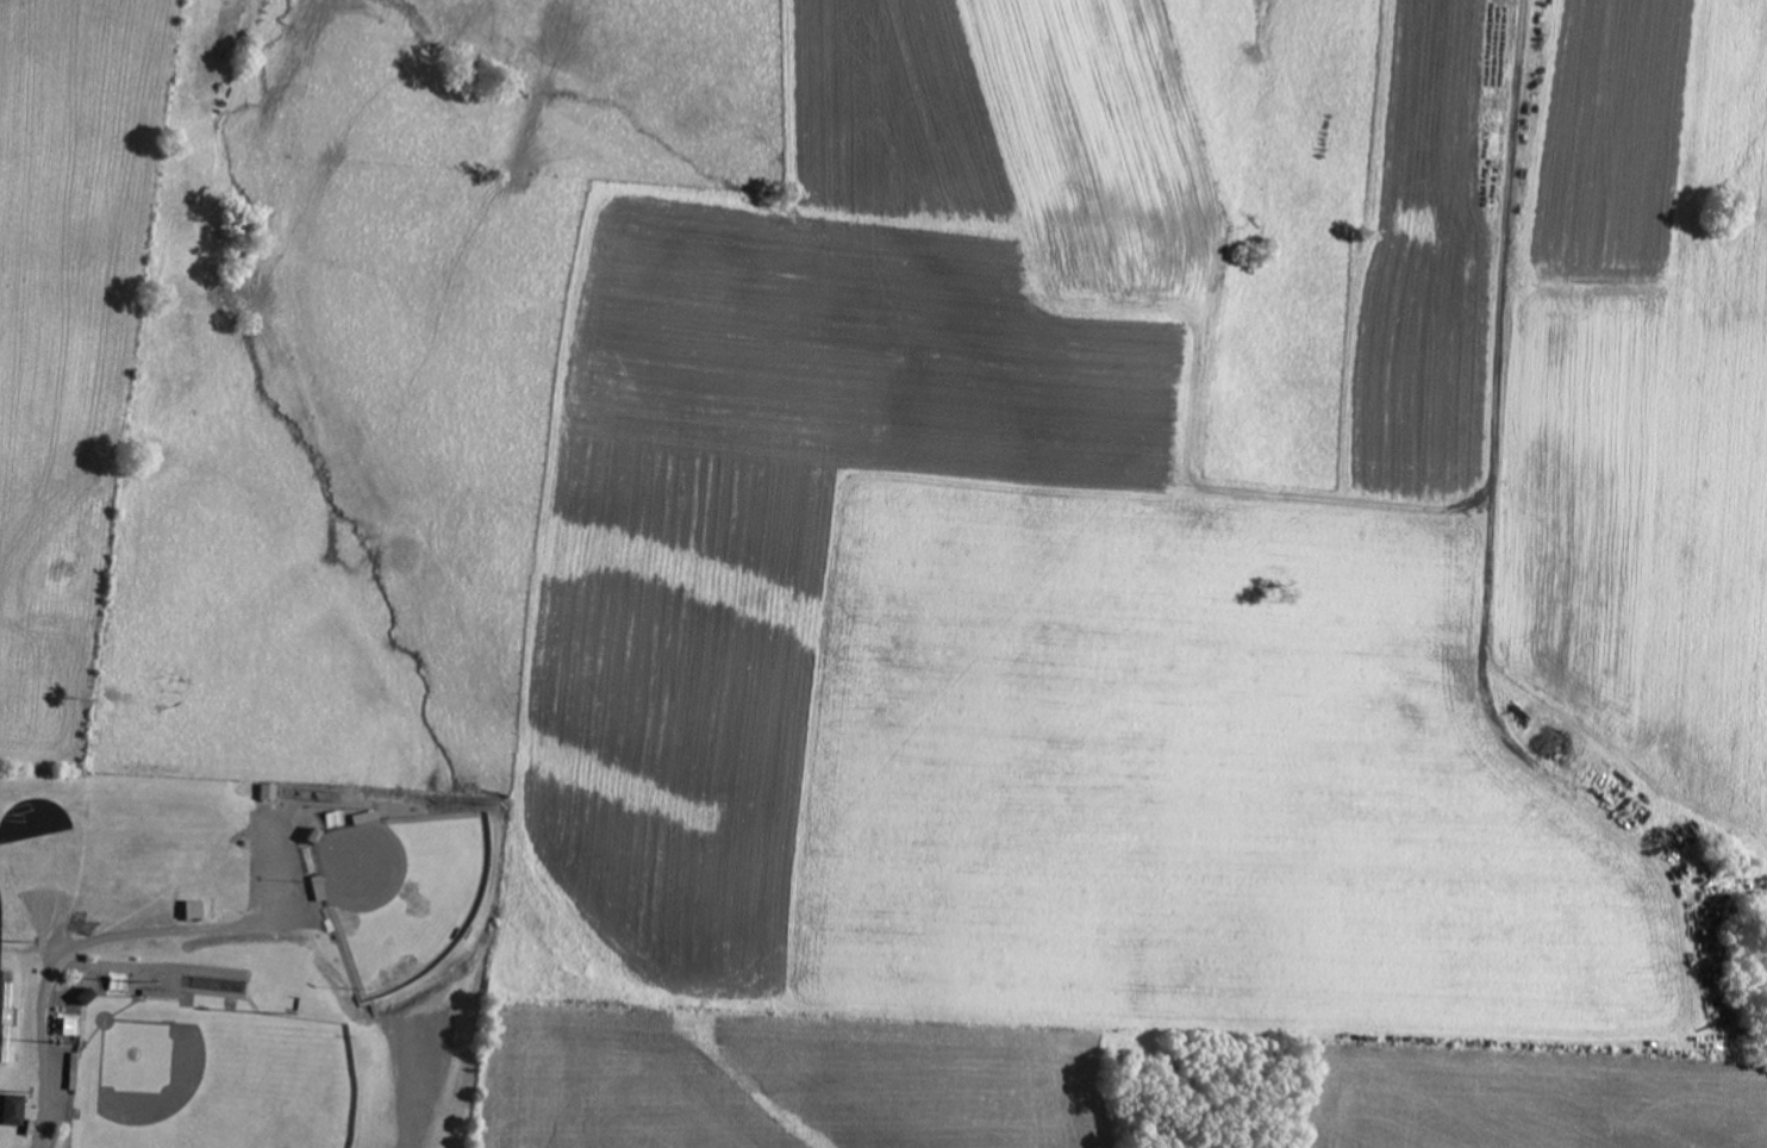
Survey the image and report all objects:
road: (1512, 132)
building: (269, 790)
park: (33, 825)
building: (198, 907)
building: (15, 1108)

